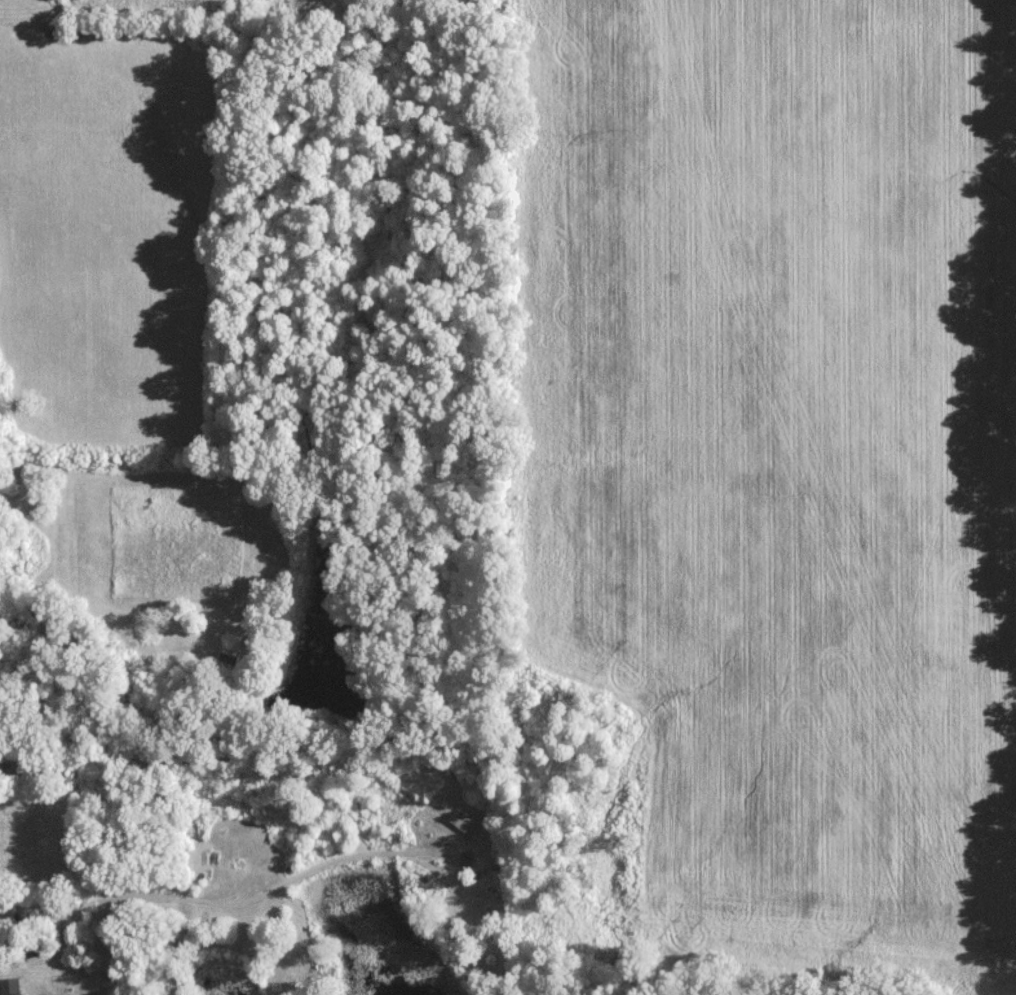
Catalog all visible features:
park: (20, 11)
building: (464, 822)
road: (229, 904)
building: (12, 986)

